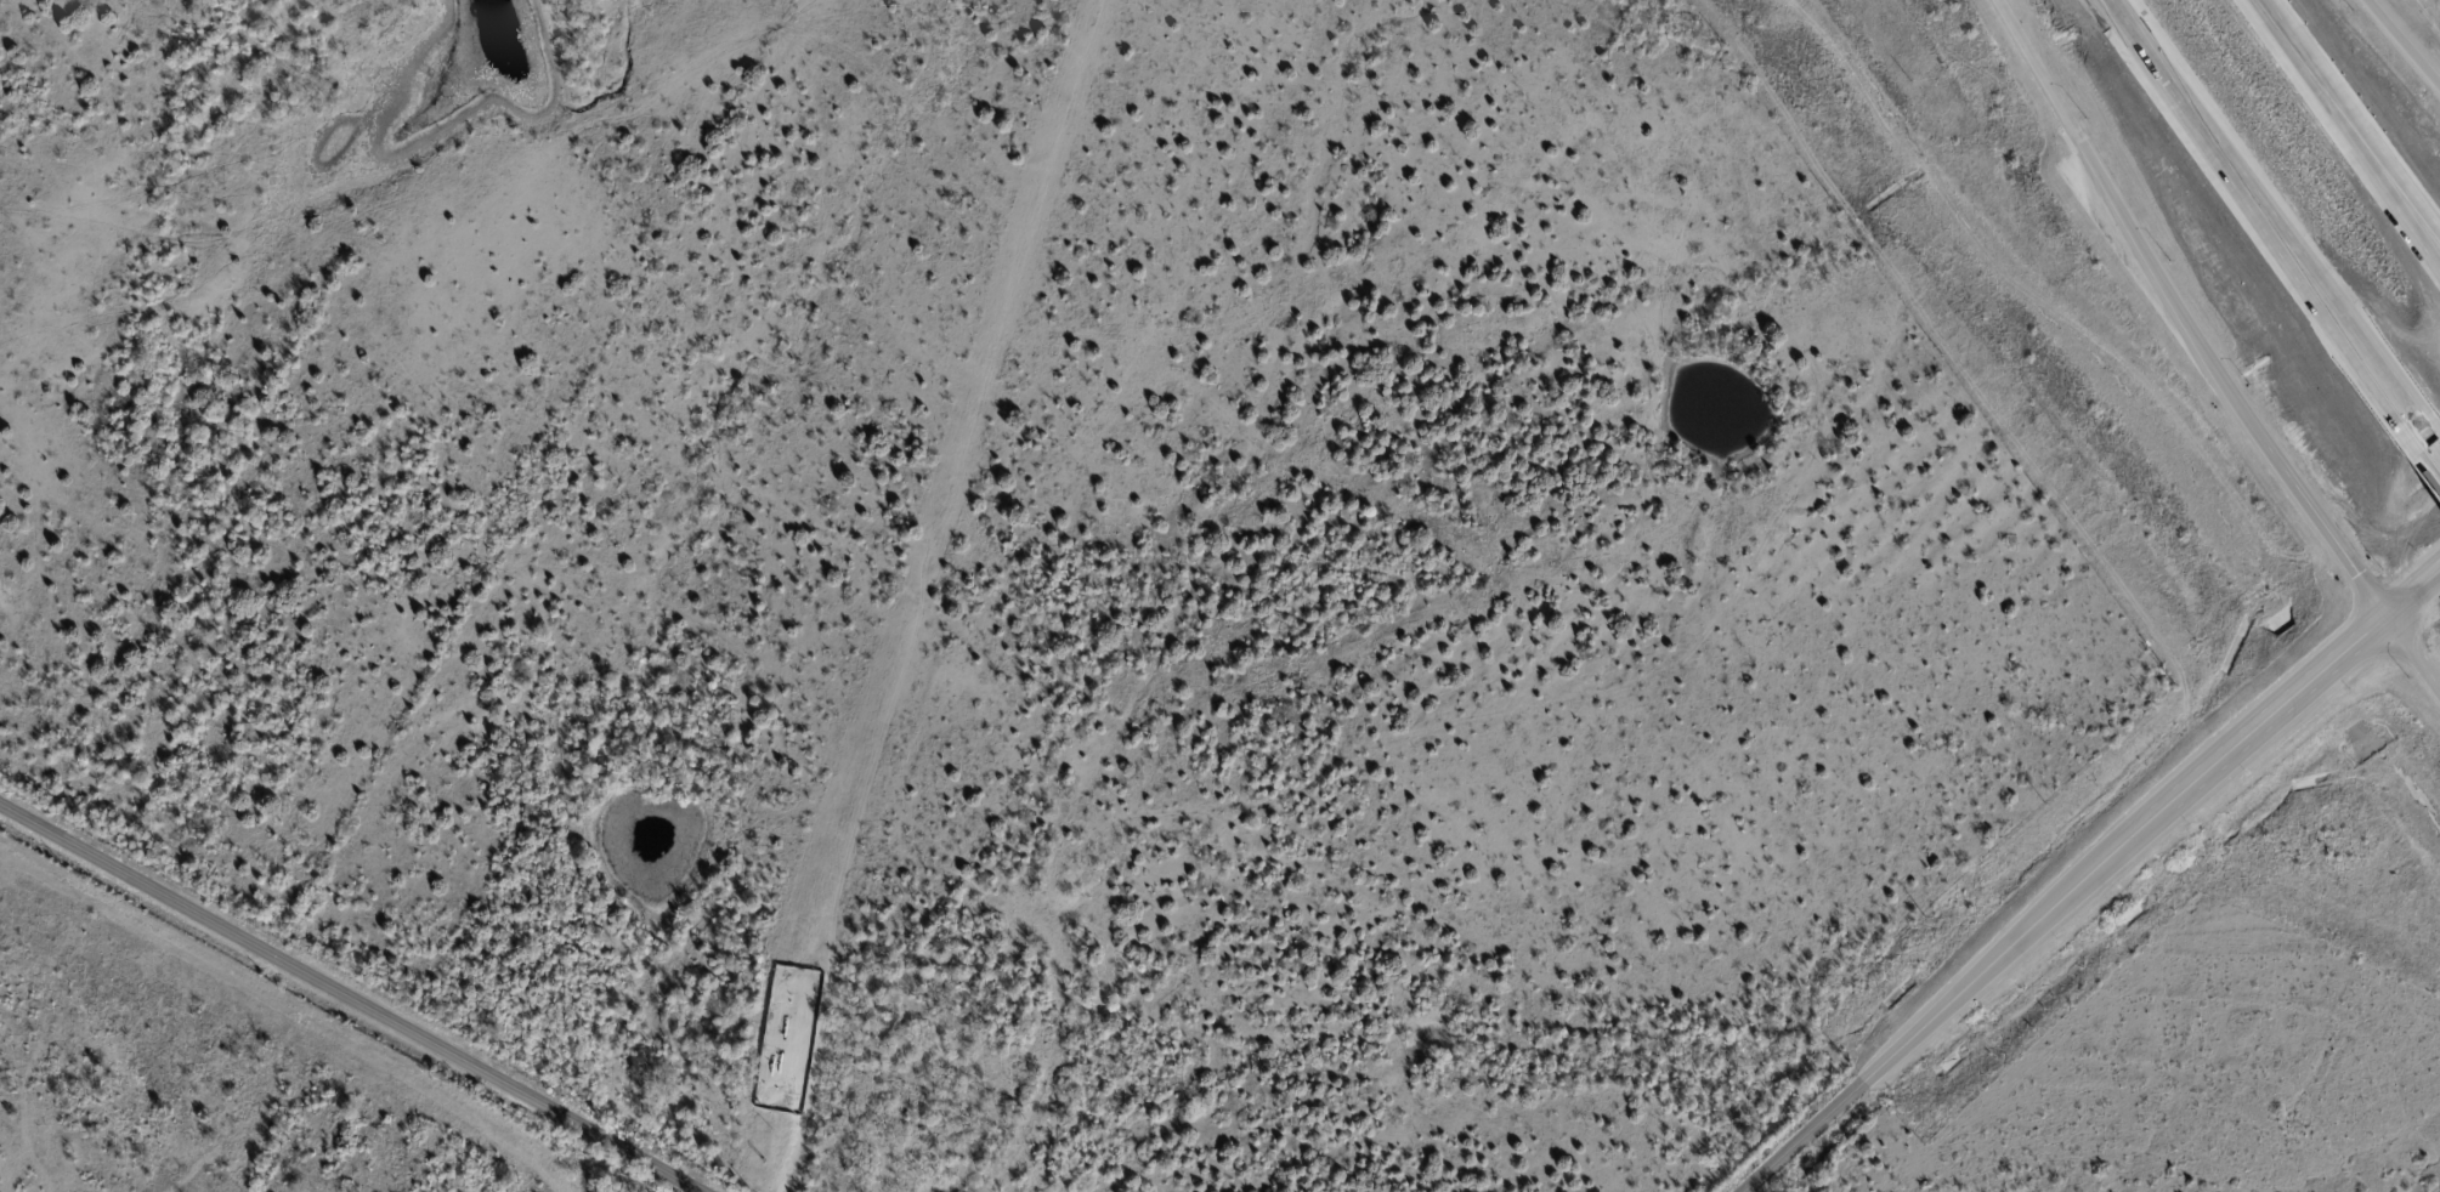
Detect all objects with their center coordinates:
road: (2405, 39)
road: (2354, 117)
road: (2261, 211)
road: (2181, 317)
road: (2427, 439)
road: (2413, 592)
road: (2413, 653)
road: (2275, 714)
road: (350, 997)
road: (1955, 999)
building: (889, 1028)

